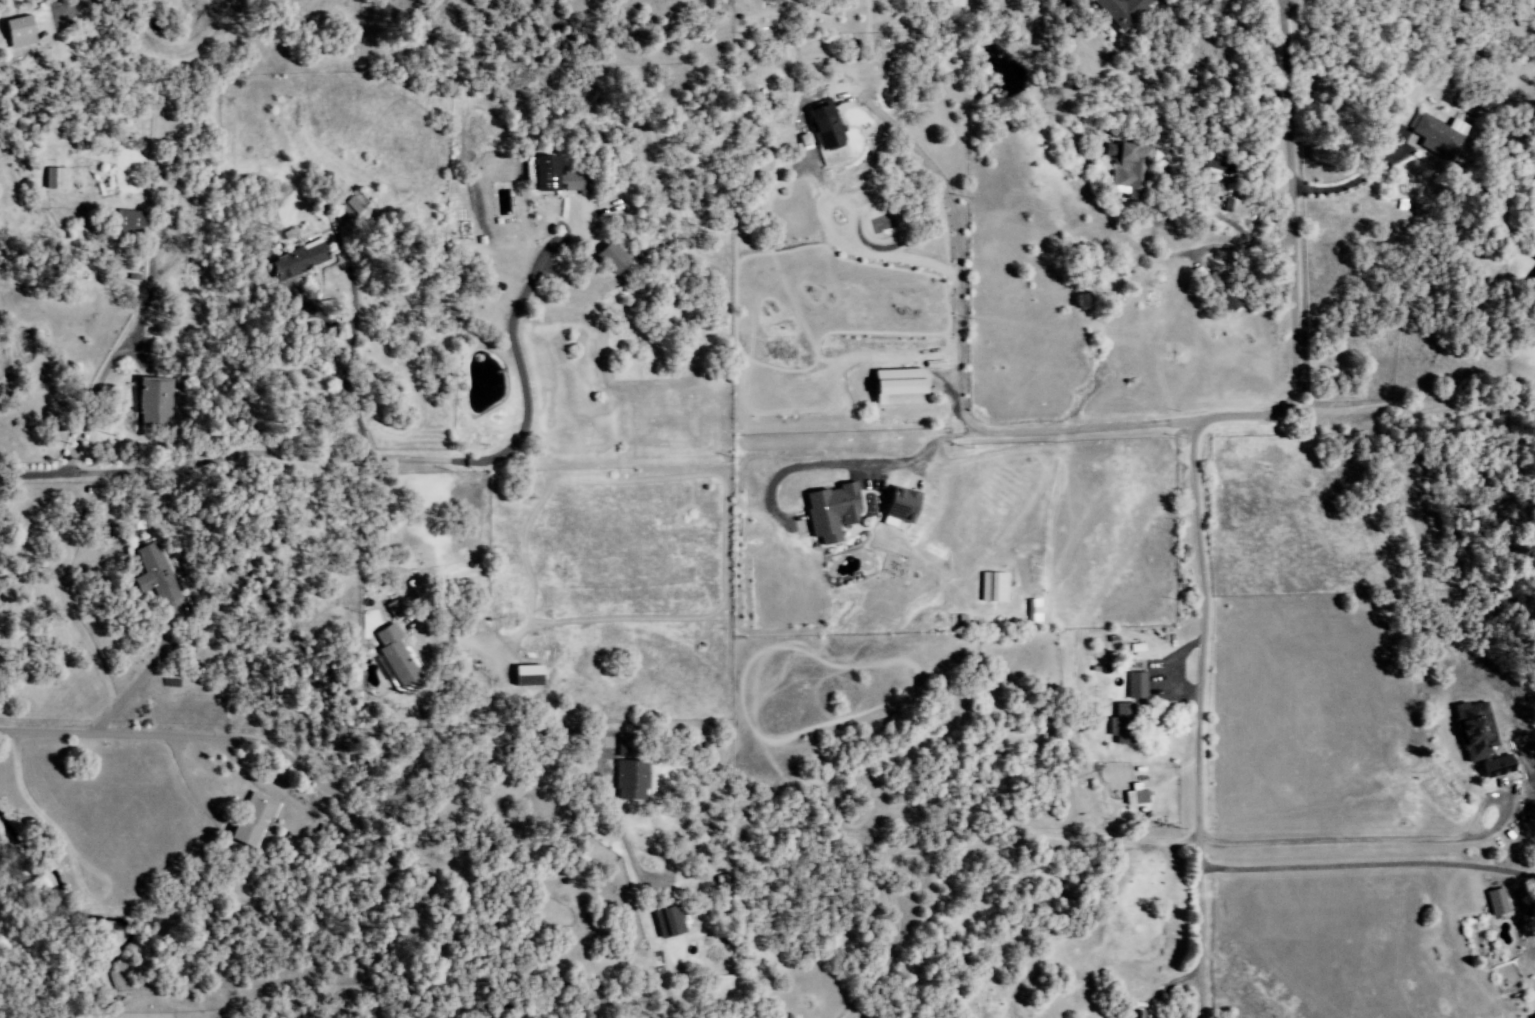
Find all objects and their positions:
road: (69, 4)
building: (1118, 10)
building: (21, 31)
building: (826, 128)
building: (1439, 135)
building: (1217, 165)
building: (1130, 168)
building: (560, 177)
building: (54, 178)
road: (1287, 206)
building: (350, 207)
building: (129, 220)
building: (613, 258)
building: (299, 259)
road: (148, 276)
road: (515, 354)
road: (954, 363)
road: (343, 385)
building: (902, 386)
building: (155, 400)
road: (231, 454)
road: (843, 463)
building: (902, 506)
building: (833, 512)
building: (153, 573)
building: (993, 587)
building: (411, 590)
building: (396, 609)
building: (1033, 610)
road: (160, 645)
building: (395, 655)
road: (1193, 667)
building: (530, 675)
building: (1136, 685)
road: (423, 708)
building: (1123, 724)
road: (213, 731)
building: (1482, 739)
road: (502, 743)
building: (627, 746)
building: (631, 779)
building: (1137, 796)
building: (254, 819)
road: (1331, 838)
road: (953, 847)
road: (1351, 865)
building: (1497, 902)
building: (670, 922)
road: (483, 1006)
building: (1137, 1014)

